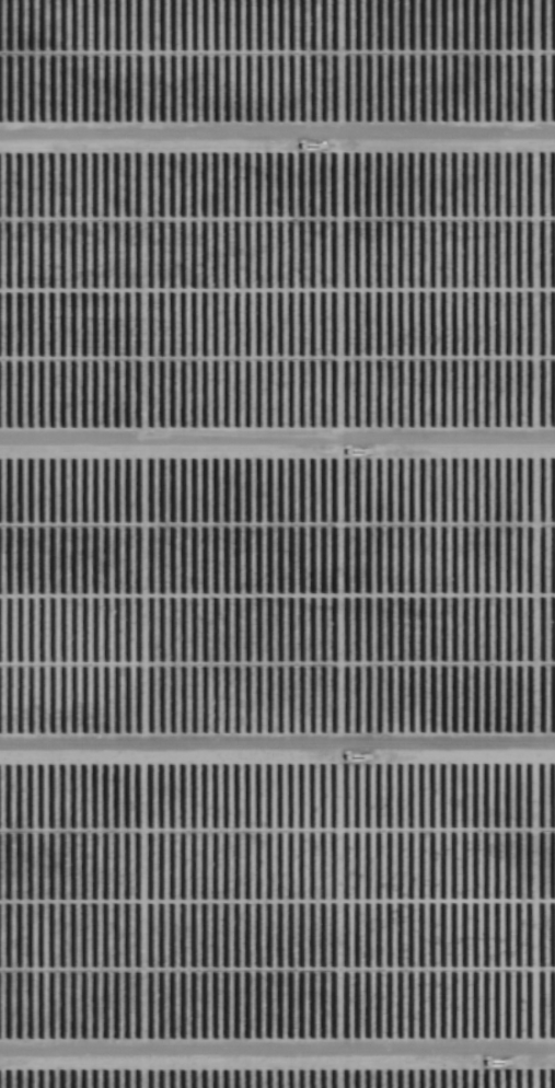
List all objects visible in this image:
solar farm: (277, 544)

